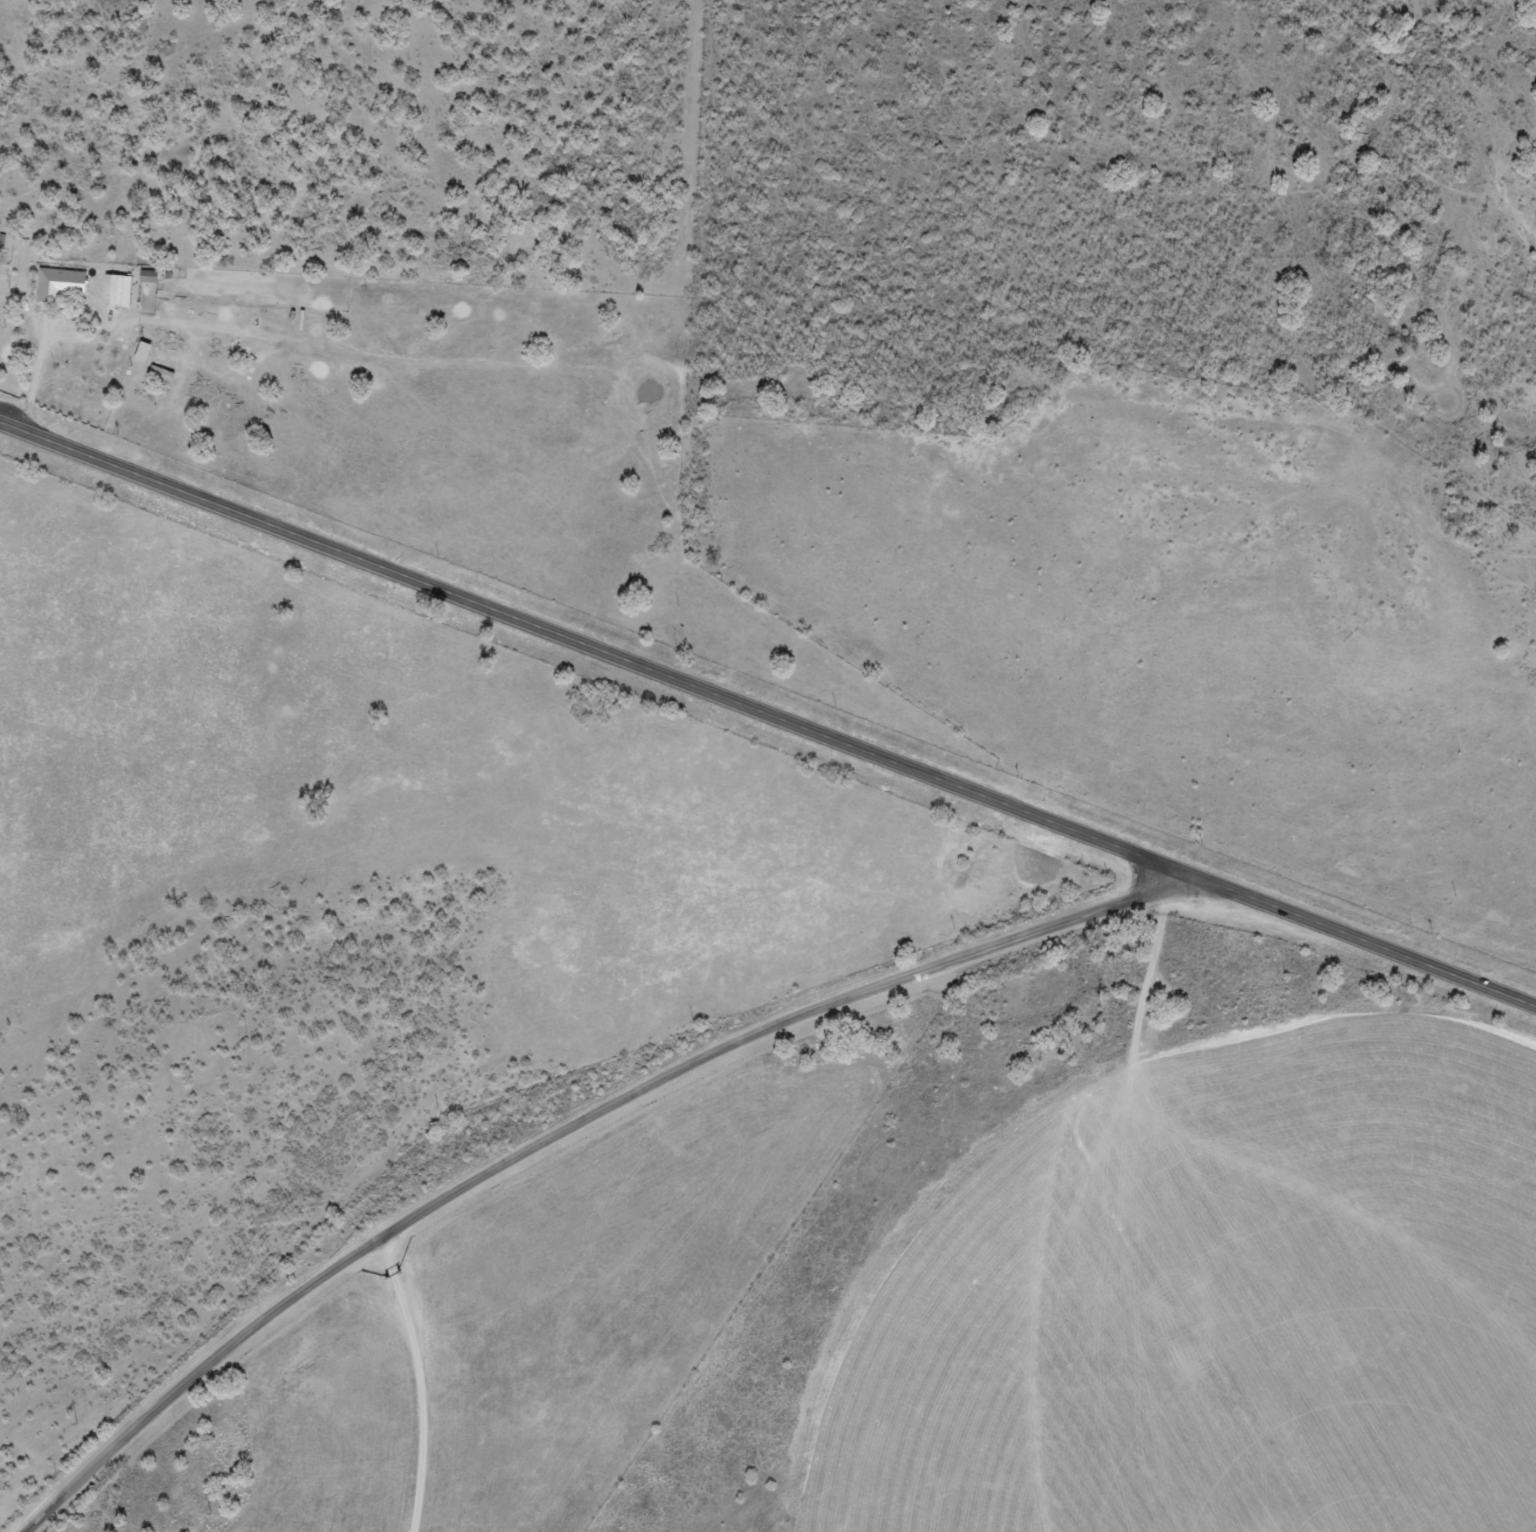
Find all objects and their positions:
building: (147, 278)
building: (59, 288)
building: (115, 292)
road: (767, 717)
road: (572, 1125)
crop: (1219, 1302)

